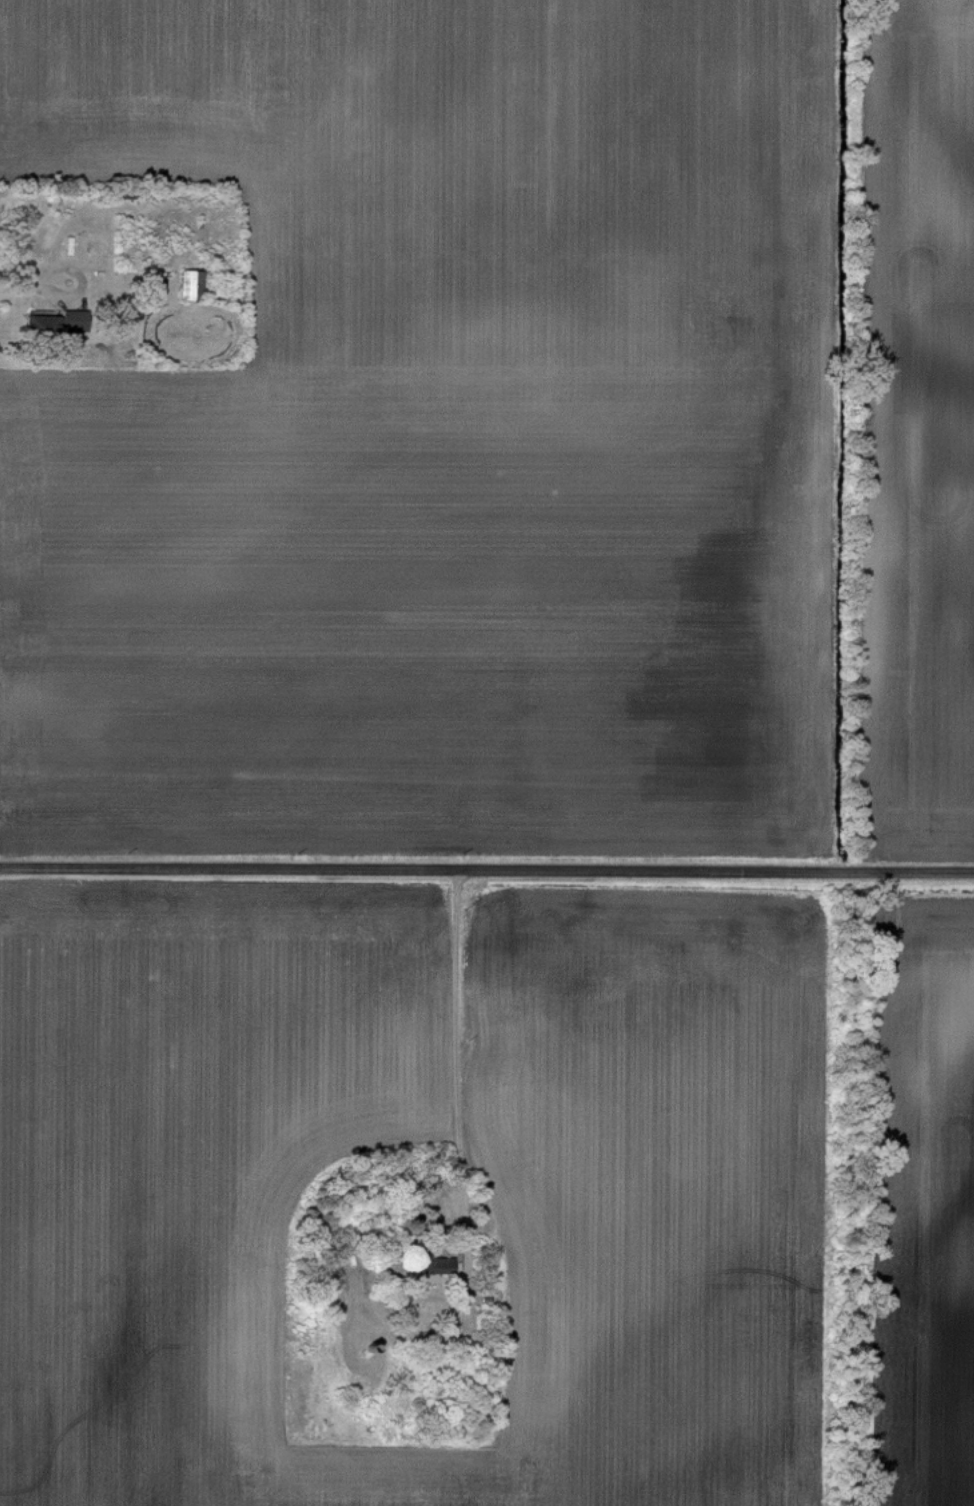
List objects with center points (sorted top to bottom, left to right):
building: (192, 285)
building: (42, 326)
road: (486, 869)
road: (454, 1065)
building: (439, 1265)

